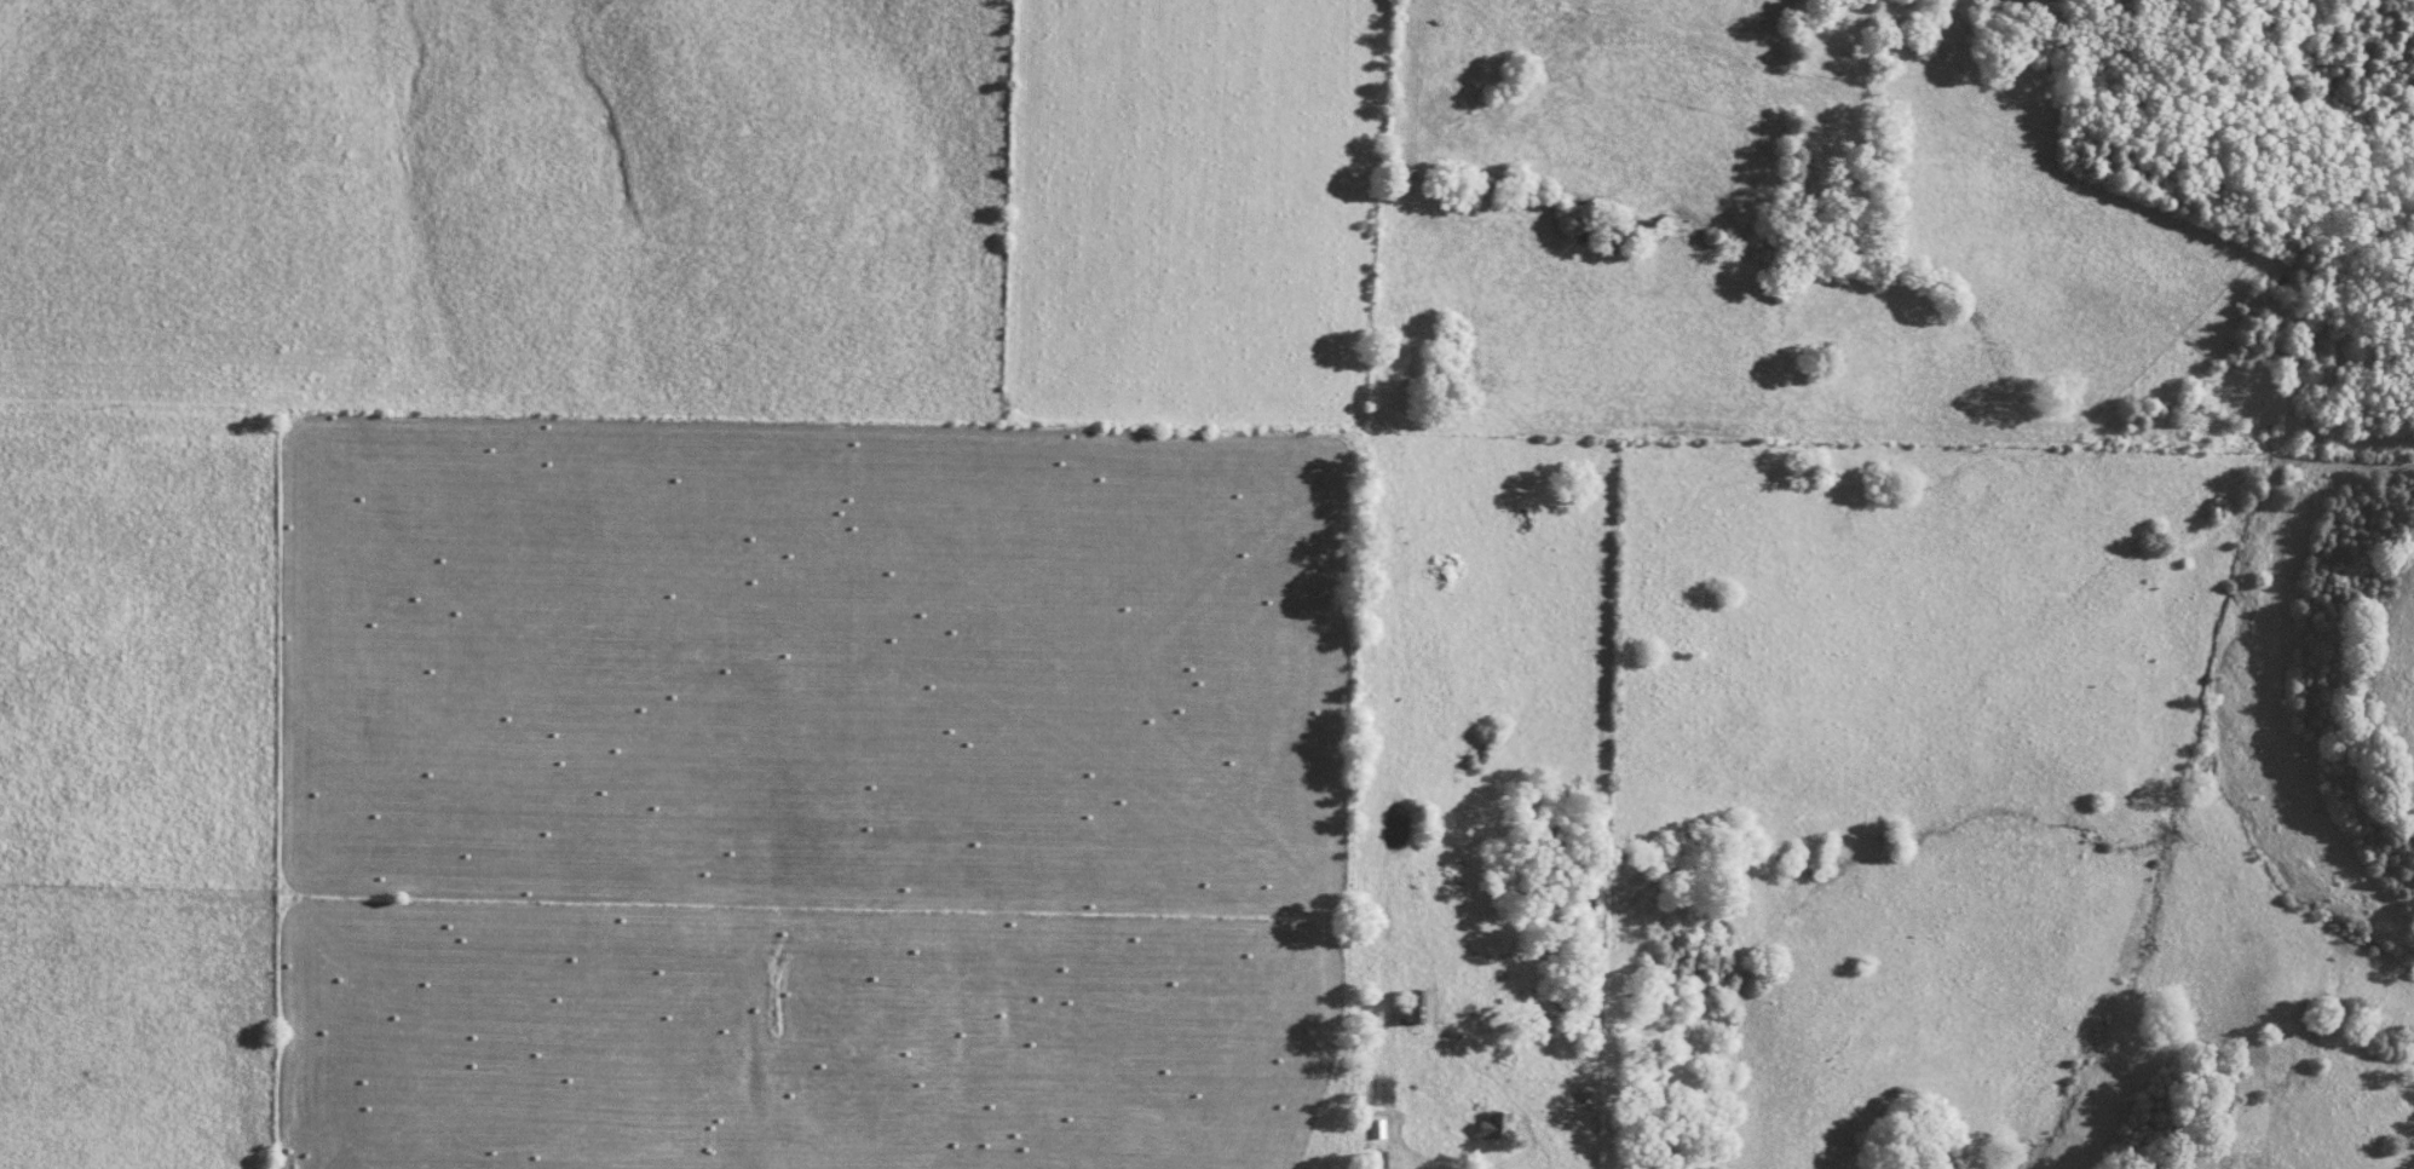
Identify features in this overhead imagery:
building: (1418, 1007)
building: (1379, 1092)
building: (1499, 1125)
building: (1381, 1159)

